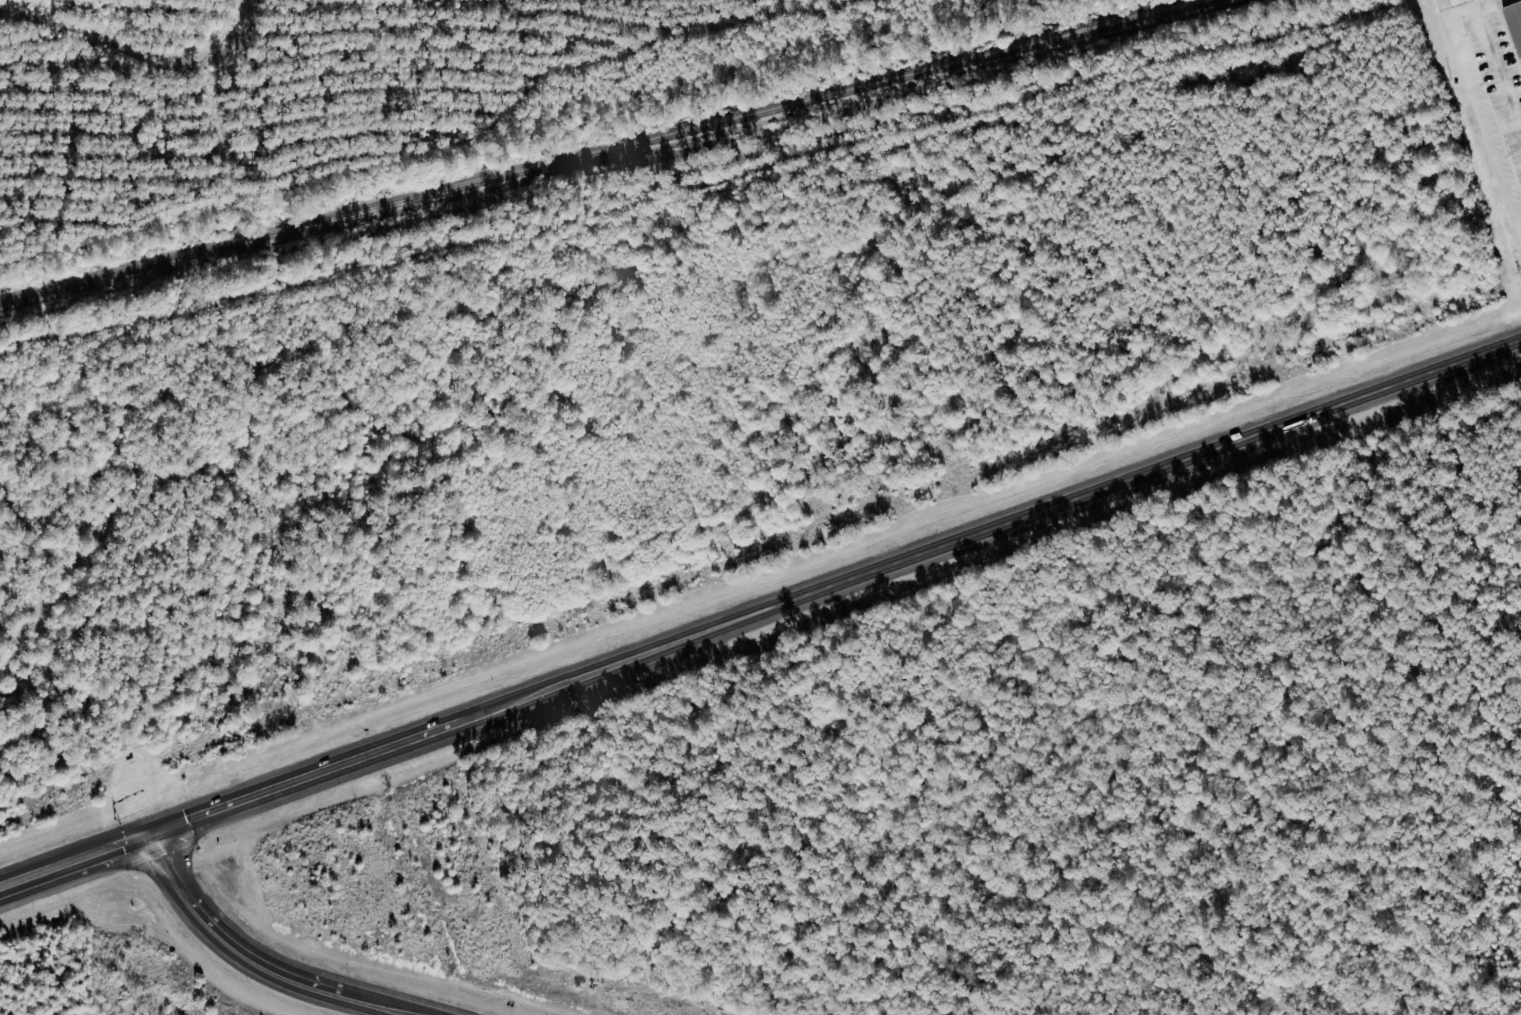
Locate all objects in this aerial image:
building: (1515, 24)
road: (1508, 66)
railway: (607, 151)
road: (1015, 520)
road: (333, 763)
traffic signals: (159, 833)
road: (187, 839)
road: (124, 845)
road: (138, 856)
road: (170, 857)
road: (45, 873)
road: (251, 955)
road: (383, 1004)

